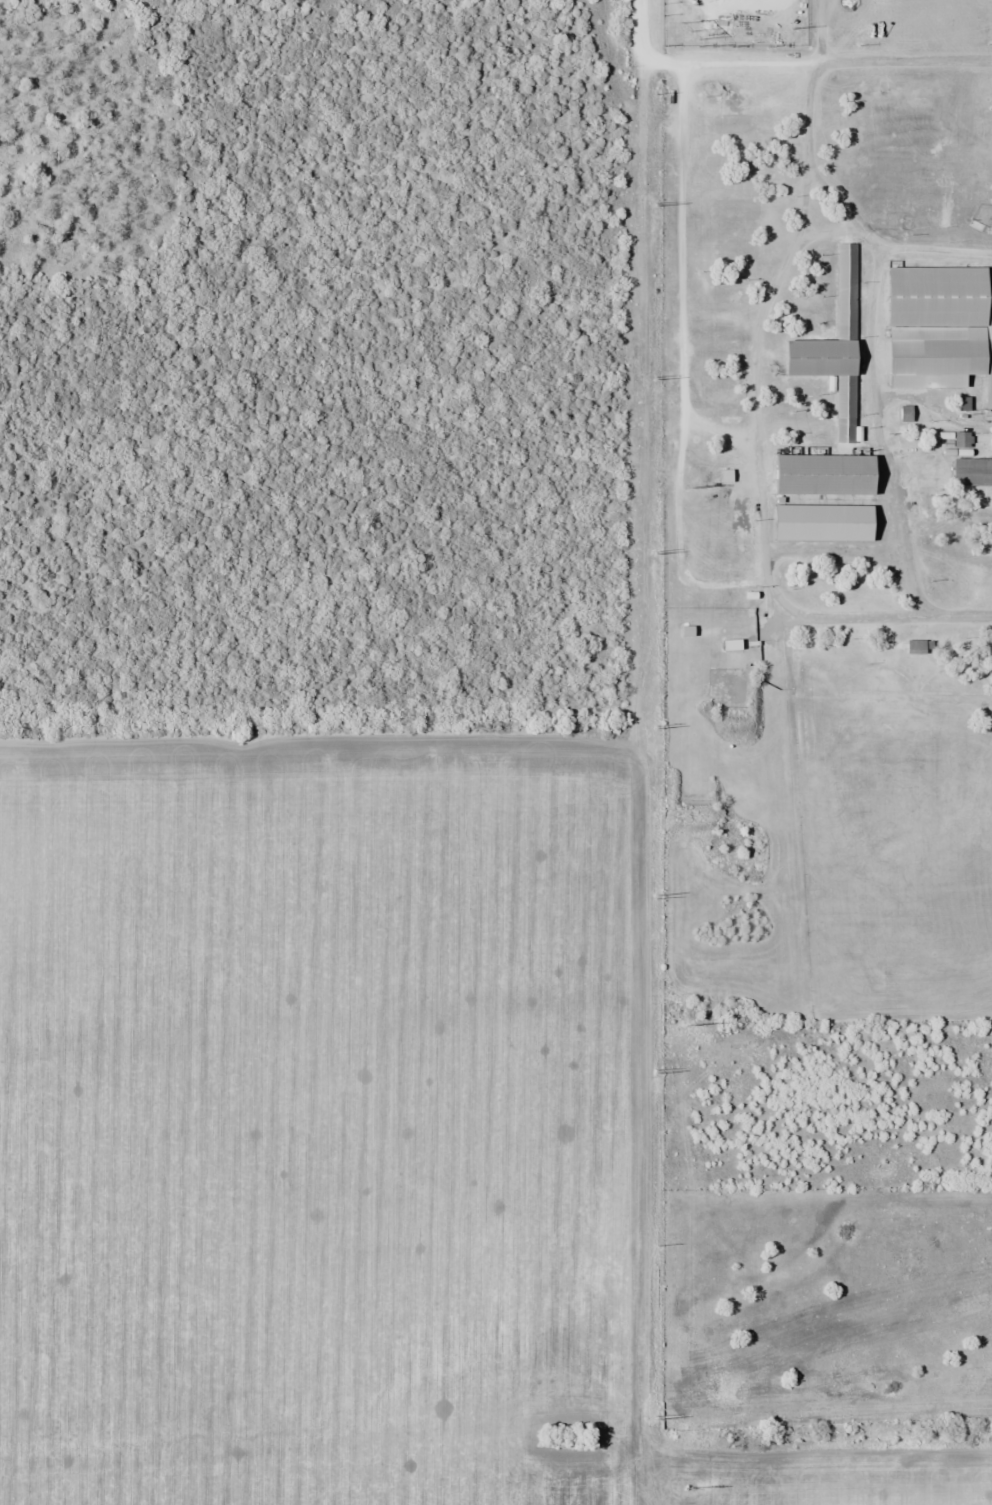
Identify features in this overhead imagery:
power substation: (735, 22)
power tower: (690, 31)
power tower: (796, 31)
road: (700, 63)
building: (939, 333)
road: (758, 347)
building: (833, 347)
building: (959, 439)
building: (972, 471)
building: (821, 474)
power tower: (692, 488)
building: (820, 522)
building: (914, 646)
power tower: (691, 1025)
power tower: (690, 1488)

